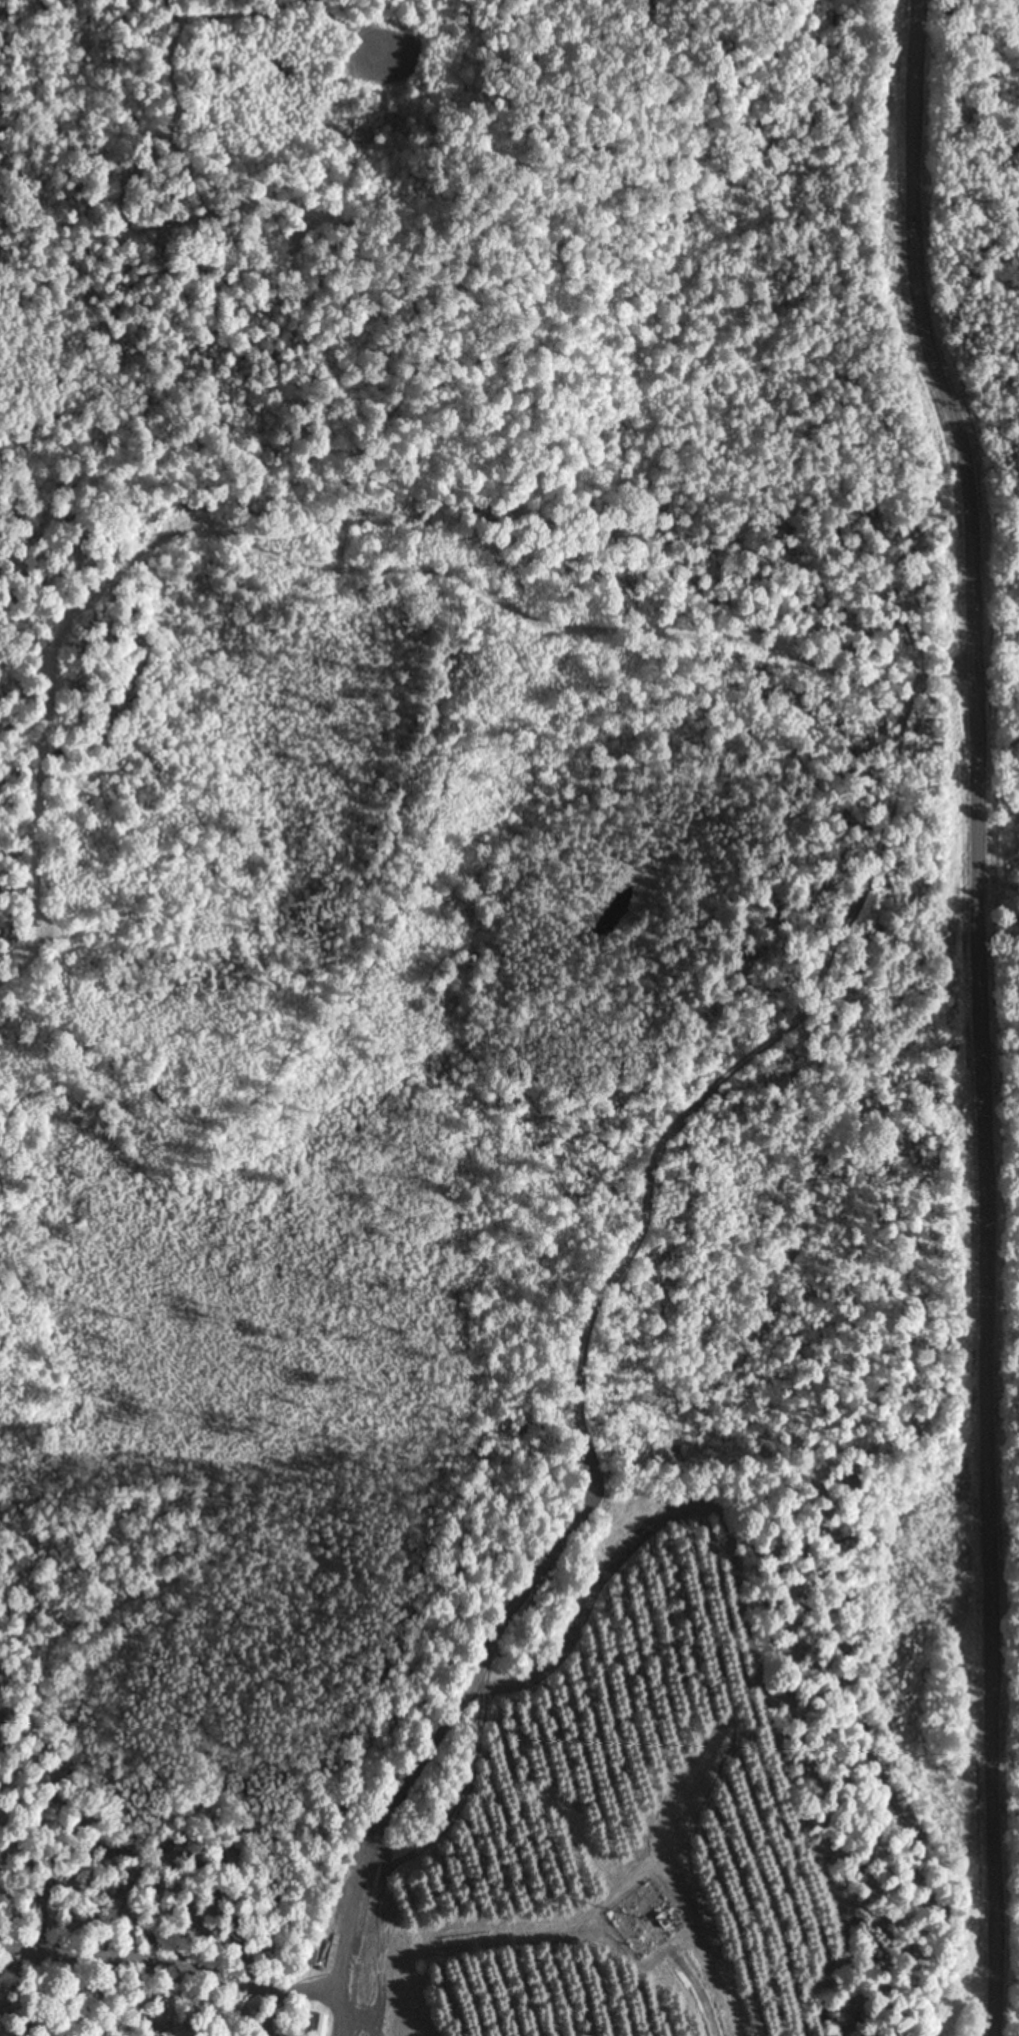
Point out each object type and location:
road: (610, 682)
road: (959, 1017)
building: (309, 1958)

